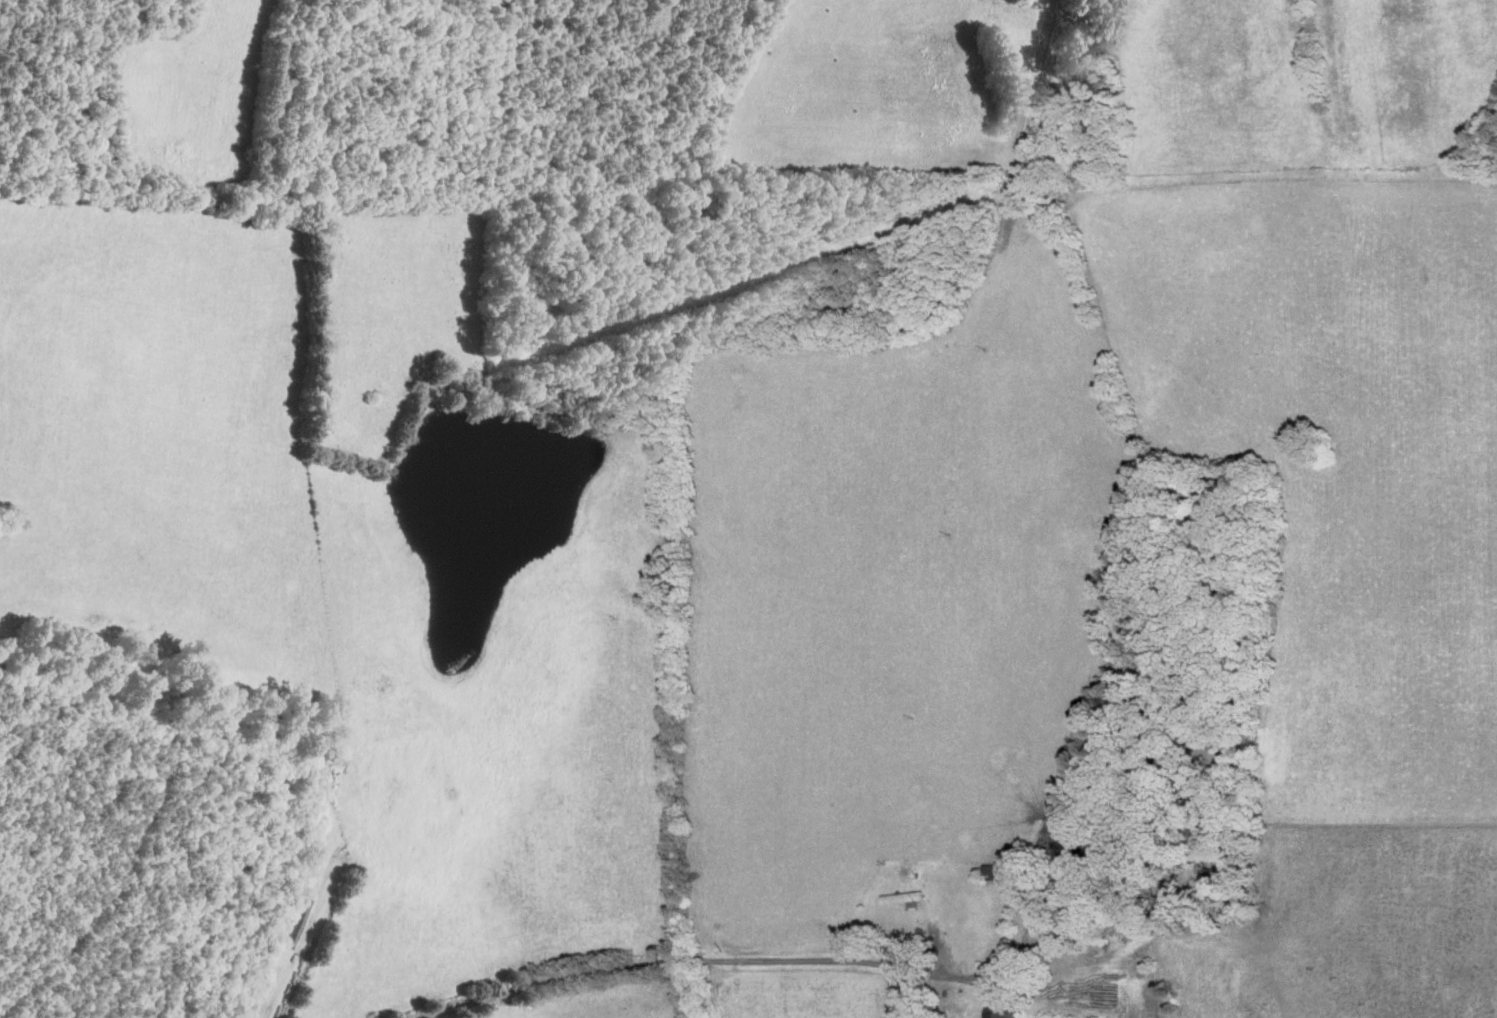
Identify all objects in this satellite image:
building: (1001, 871)
building: (905, 897)
road: (709, 957)
building: (1001, 1014)

